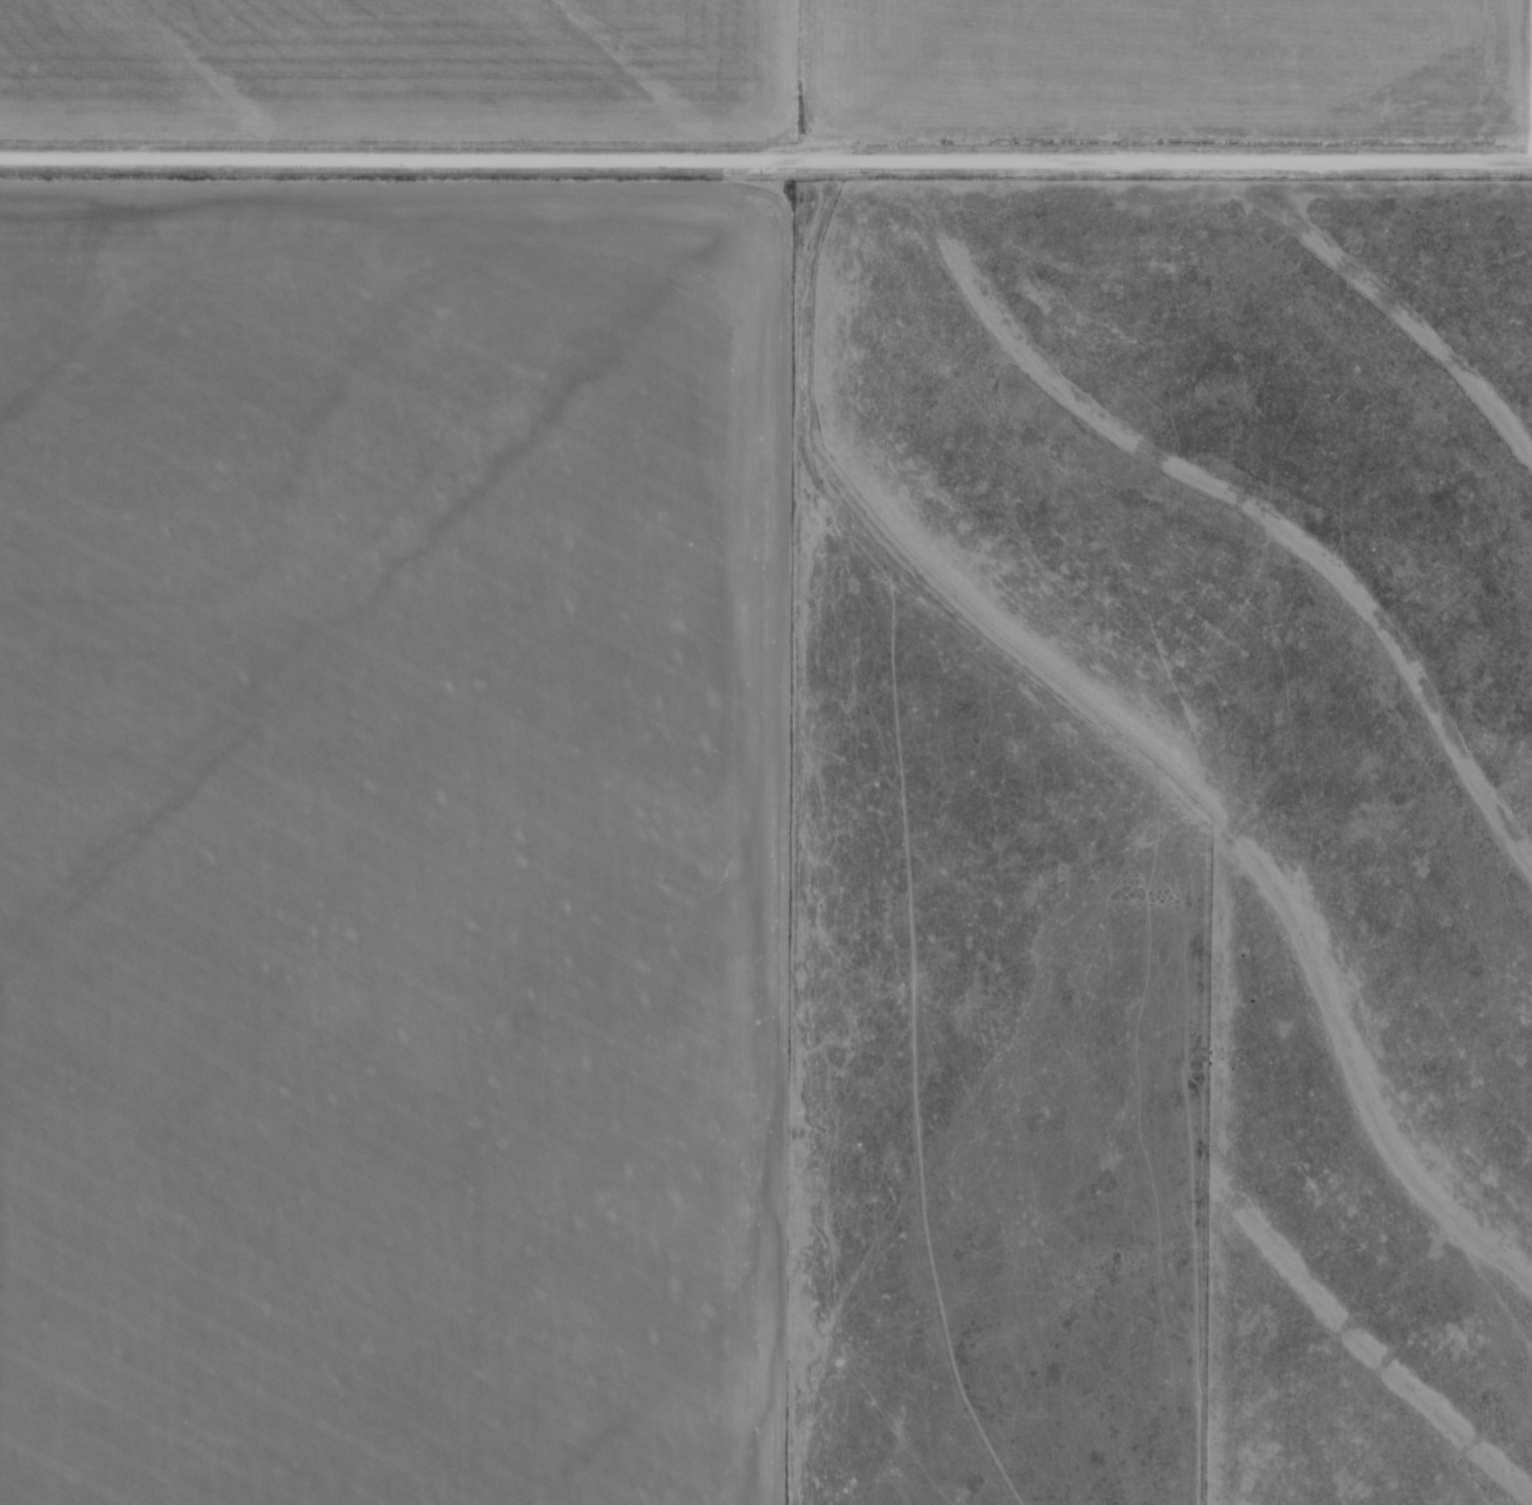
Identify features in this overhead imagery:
road: (766, 147)

